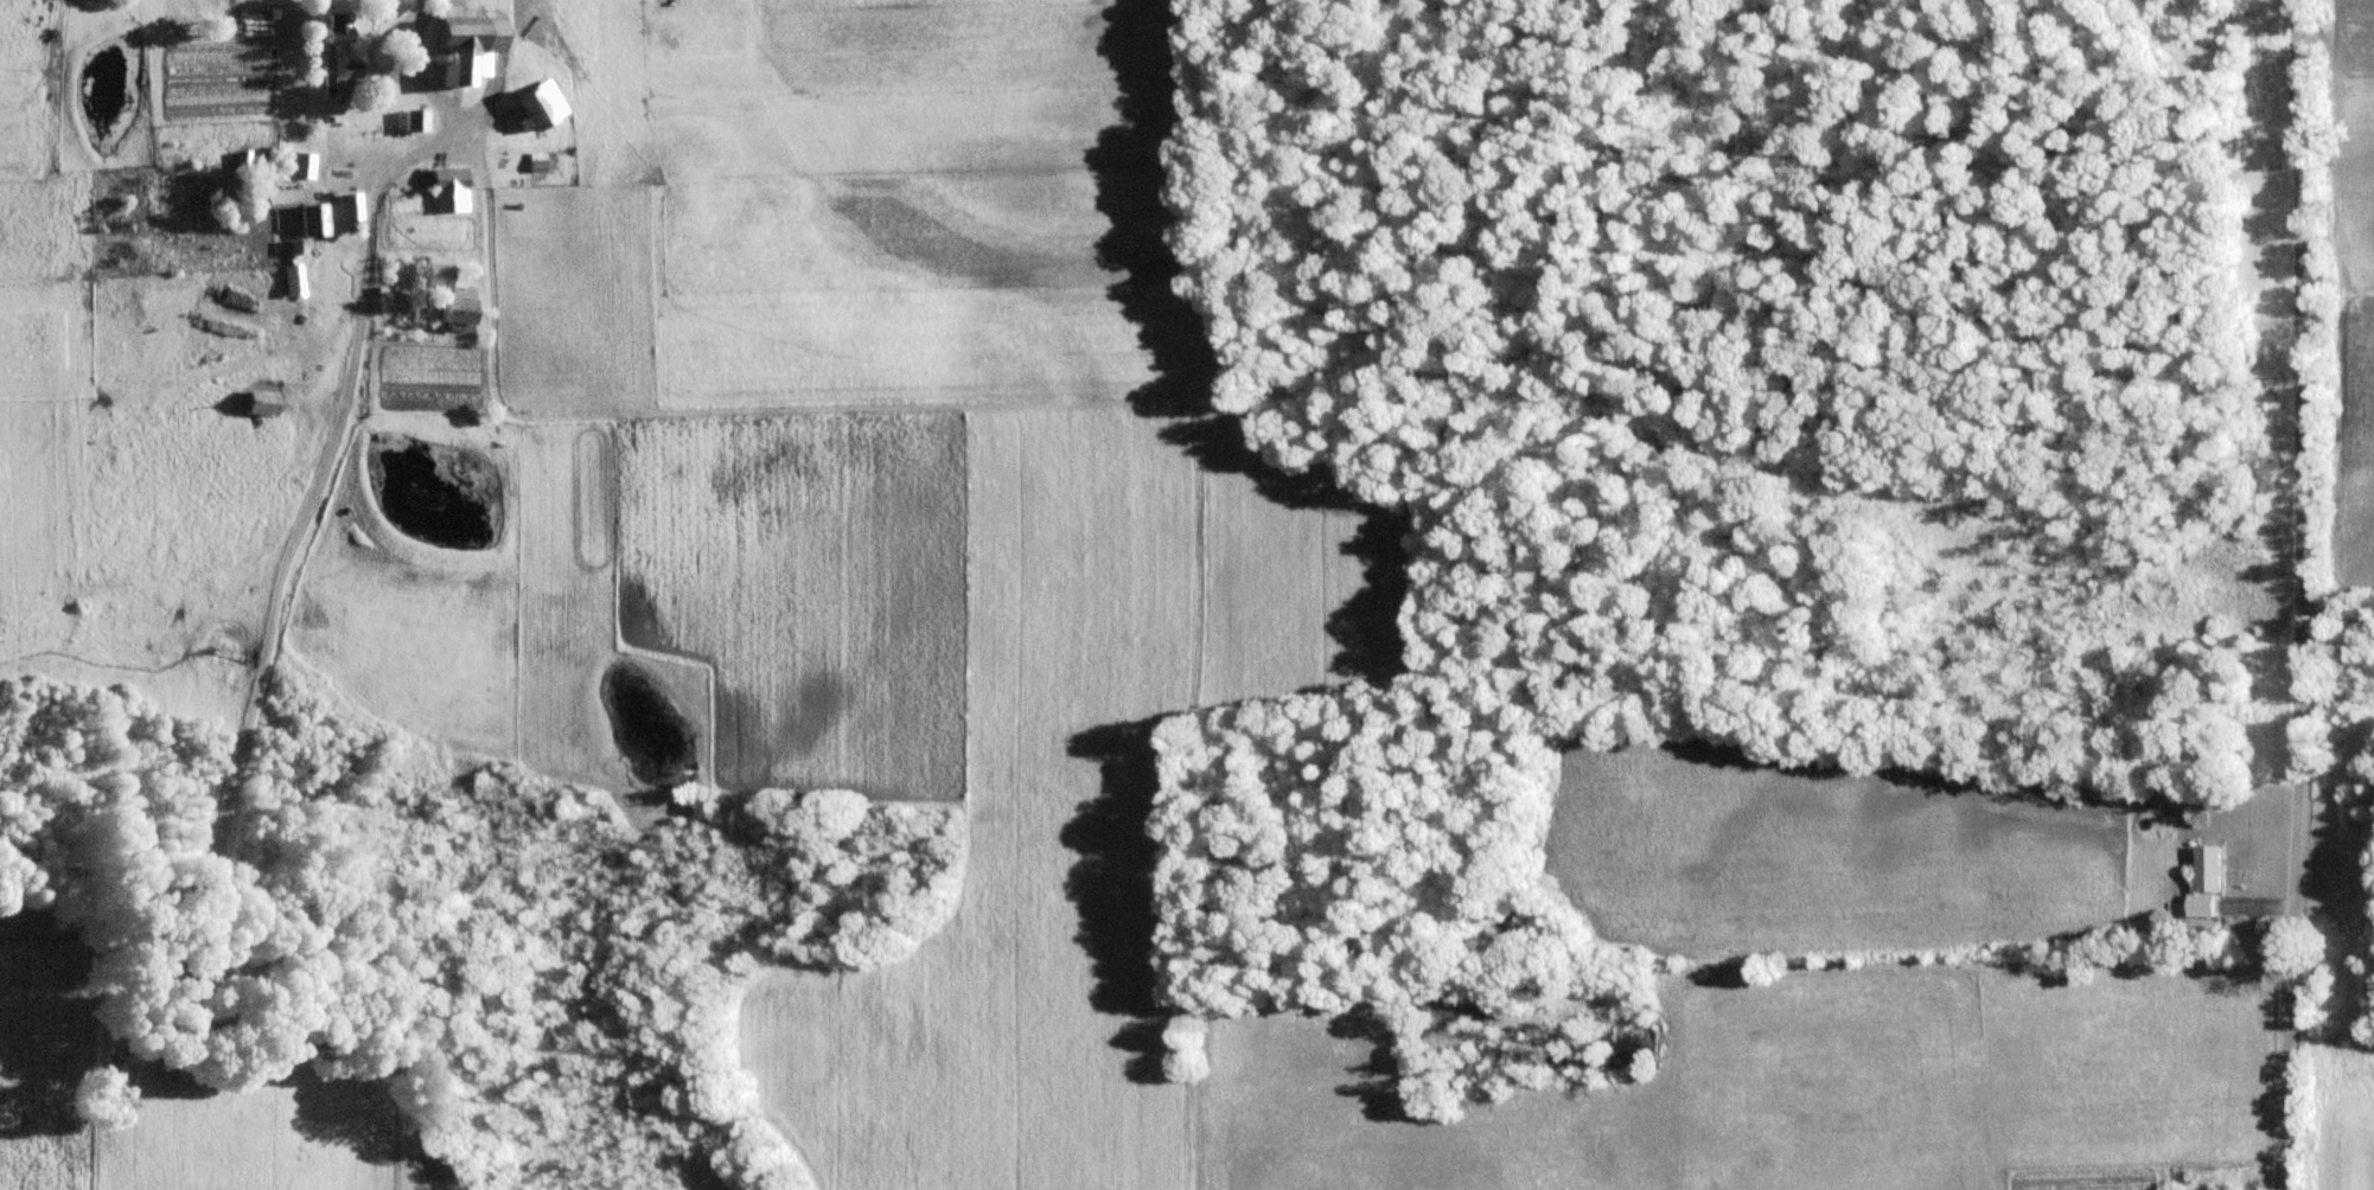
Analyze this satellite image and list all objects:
building: (470, 49)
building: (339, 59)
building: (536, 111)
building: (419, 121)
building: (299, 166)
building: (452, 190)
building: (350, 207)
building: (314, 223)
building: (452, 296)
building: (263, 403)
road: (2287, 595)
building: (2212, 884)

